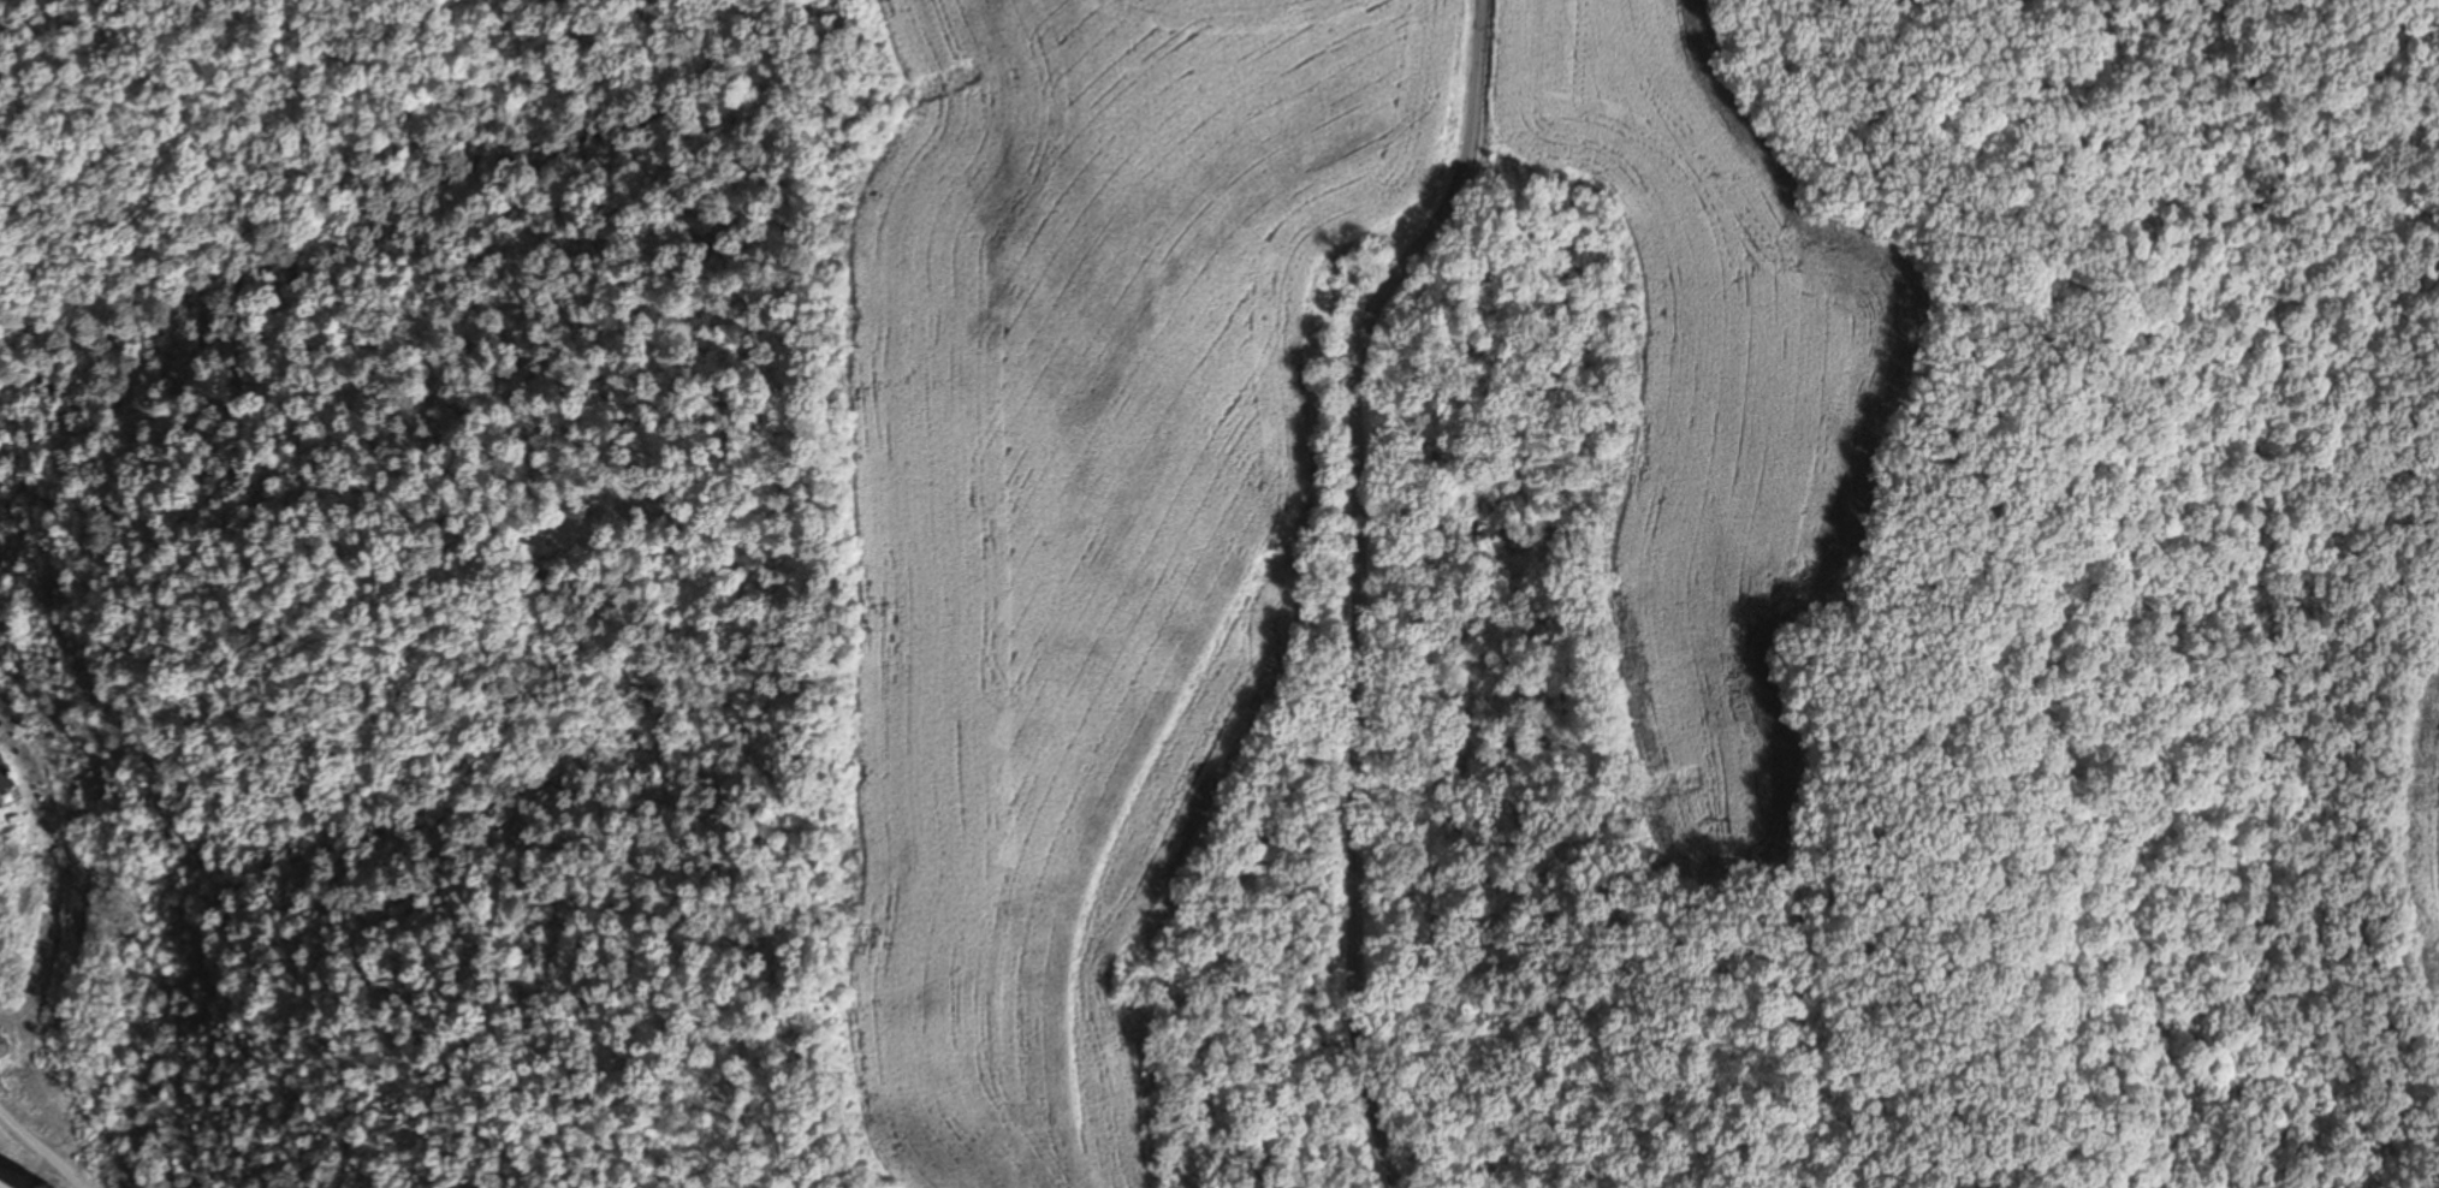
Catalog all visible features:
road: (1369, 581)
building: (0, 765)
building: (0, 807)
building: (0, 1047)
road: (47, 1157)
building: (8, 1180)

